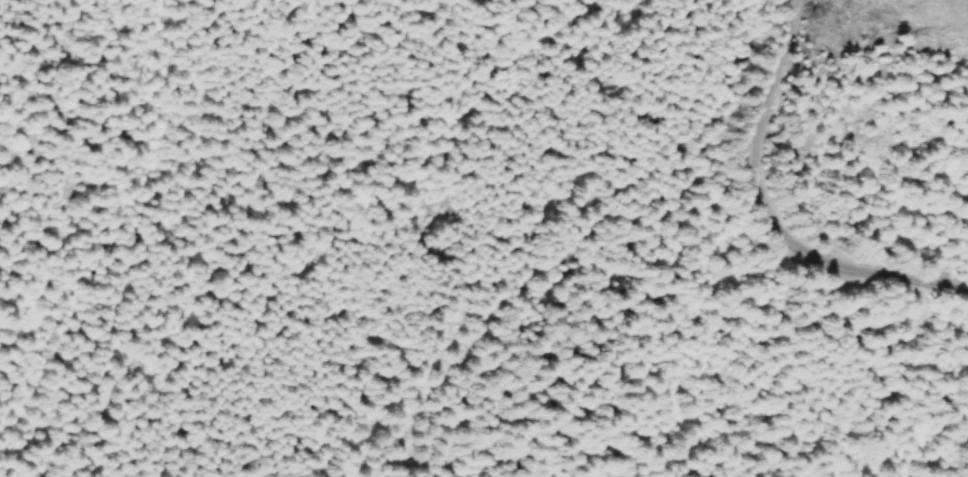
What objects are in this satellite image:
road: (763, 218)

